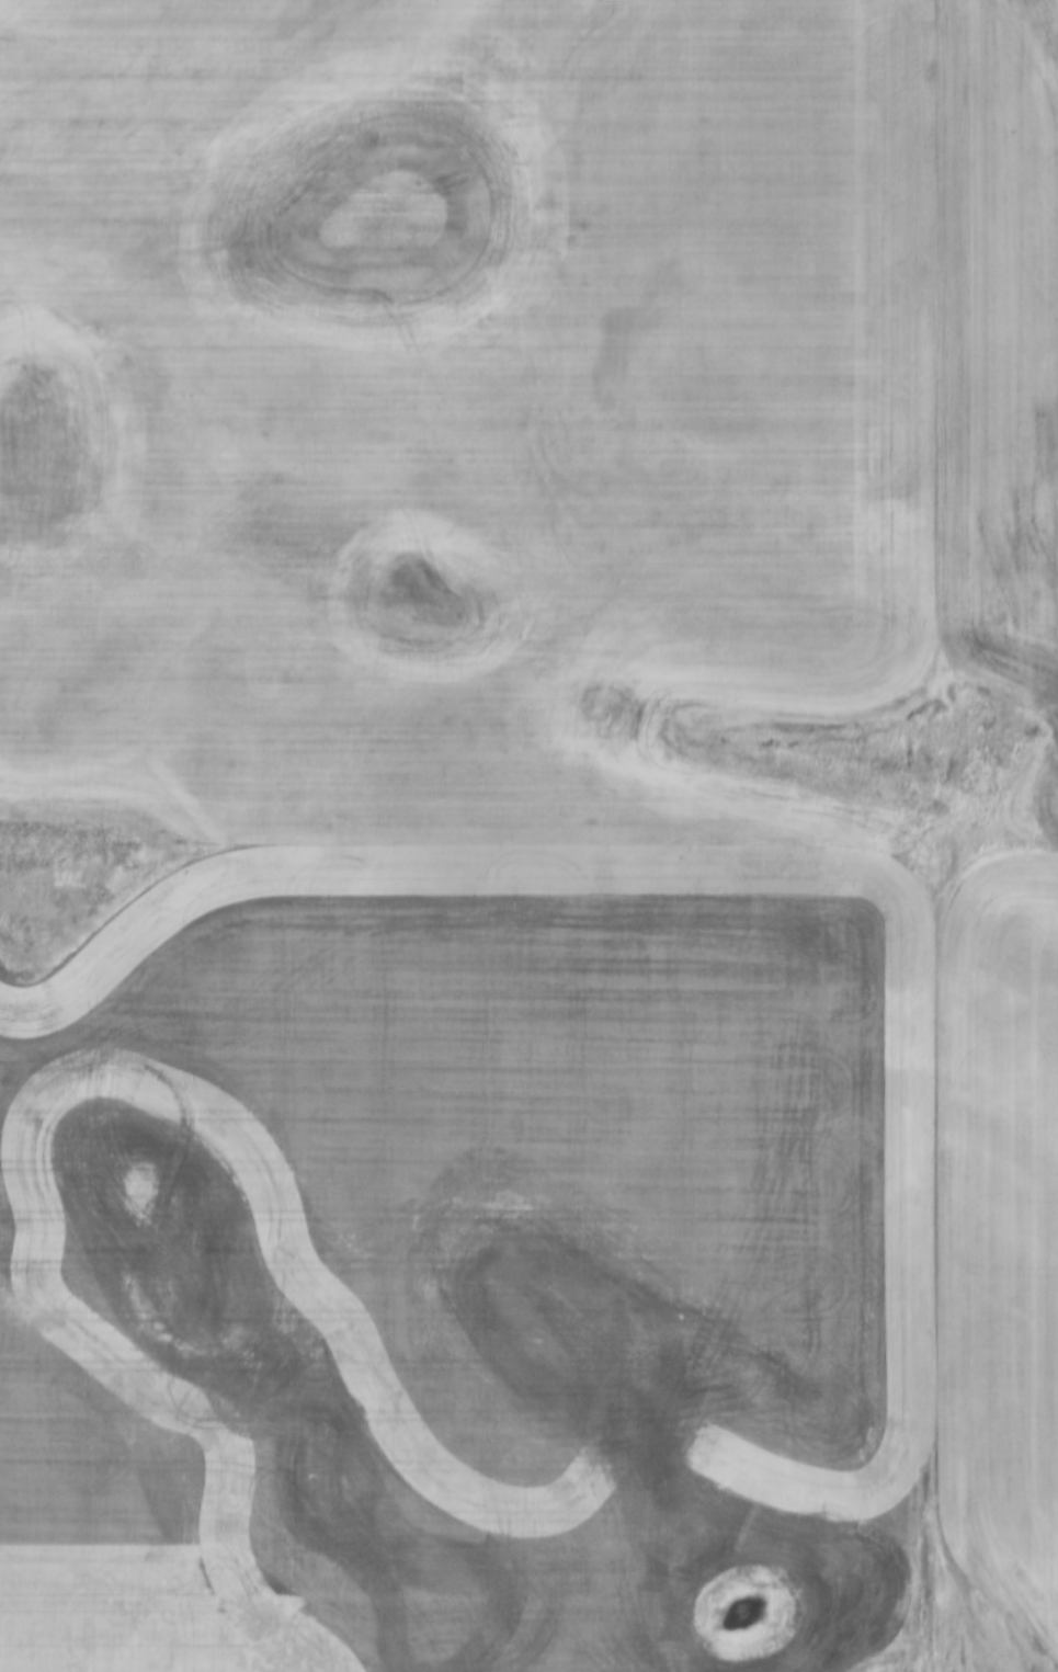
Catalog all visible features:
road: (928, 835)
road: (971, 924)

